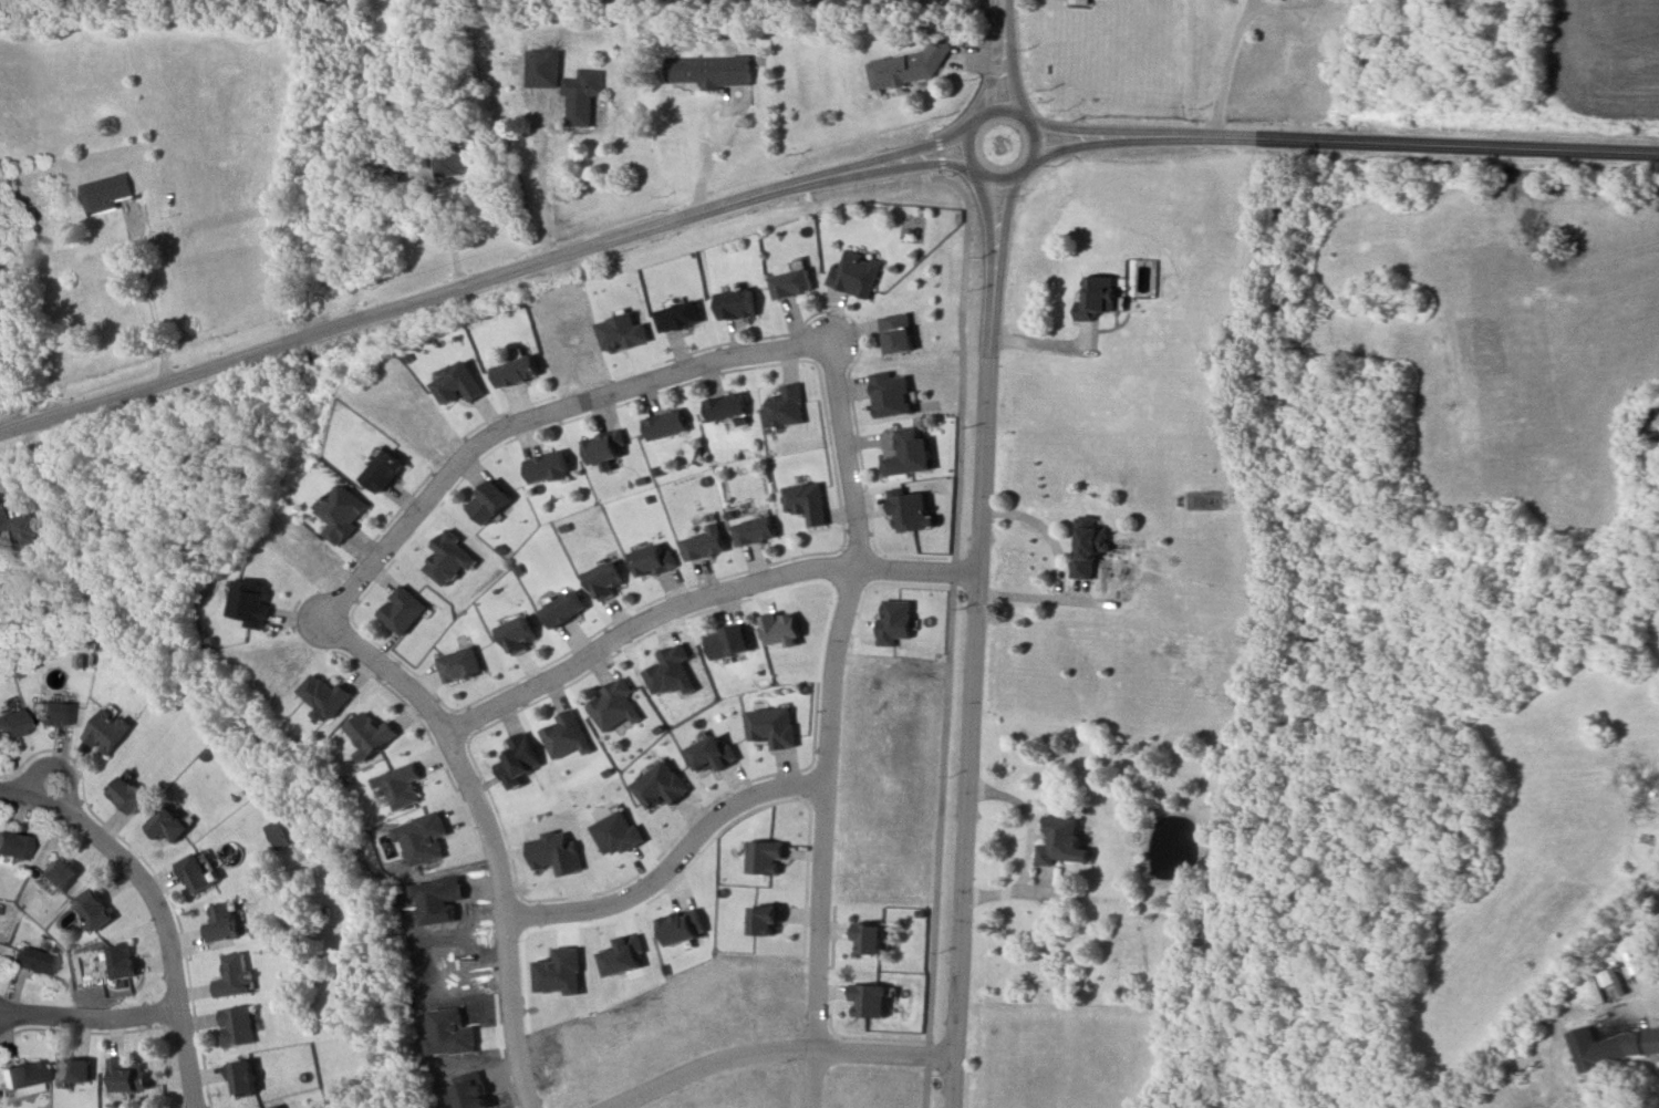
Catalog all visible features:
building: (1082, 0)
road: (1006, 17)
road: (1237, 40)
crop: (1604, 60)
building: (909, 68)
building: (542, 69)
building: (709, 71)
road: (995, 76)
road: (1013, 77)
building: (582, 103)
road: (1086, 131)
road: (1037, 139)
road: (1401, 141)
road: (1087, 144)
road: (711, 154)
road: (895, 155)
building: (456, 165)
road: (895, 167)
road: (540, 177)
building: (105, 193)
road: (989, 226)
road: (1004, 228)
building: (857, 273)
building: (792, 287)
road: (147, 288)
building: (1099, 299)
road: (405, 302)
building: (738, 304)
building: (682, 319)
building: (899, 333)
building: (516, 373)
building: (459, 386)
building: (893, 396)
building: (728, 407)
building: (782, 410)
road: (538, 416)
building: (667, 426)
building: (608, 448)
building: (904, 451)
building: (546, 469)
building: (384, 475)
building: (487, 503)
building: (805, 506)
building: (344, 509)
building: (910, 514)
building: (15, 525)
building: (755, 532)
building: (704, 542)
building: (1086, 546)
building: (653, 559)
building: (605, 581)
road: (698, 600)
building: (251, 607)
building: (403, 611)
building: (563, 612)
building: (516, 634)
building: (728, 642)
building: (457, 667)
building: (329, 695)
road: (977, 695)
building: (612, 707)
building: (49, 716)
road: (832, 721)
building: (8, 726)
building: (372, 733)
building: (105, 736)
building: (563, 737)
building: (516, 758)
building: (402, 789)
building: (127, 795)
building: (169, 826)
building: (1064, 837)
road: (487, 840)
building: (9, 846)
building: (766, 858)
road: (672, 860)
building: (56, 873)
building: (195, 874)
road: (163, 898)
building: (93, 909)
building: (764, 921)
building: (224, 922)
building: (1206, 926)
building: (869, 938)
building: (25, 959)
road: (1635, 960)
building: (121, 961)
building: (231, 974)
building: (871, 1000)
road: (92, 1024)
building: (239, 1026)
building: (1610, 1046)
road: (771, 1055)
building: (70, 1070)
building: (127, 1075)
building: (17, 1078)
building: (245, 1078)

